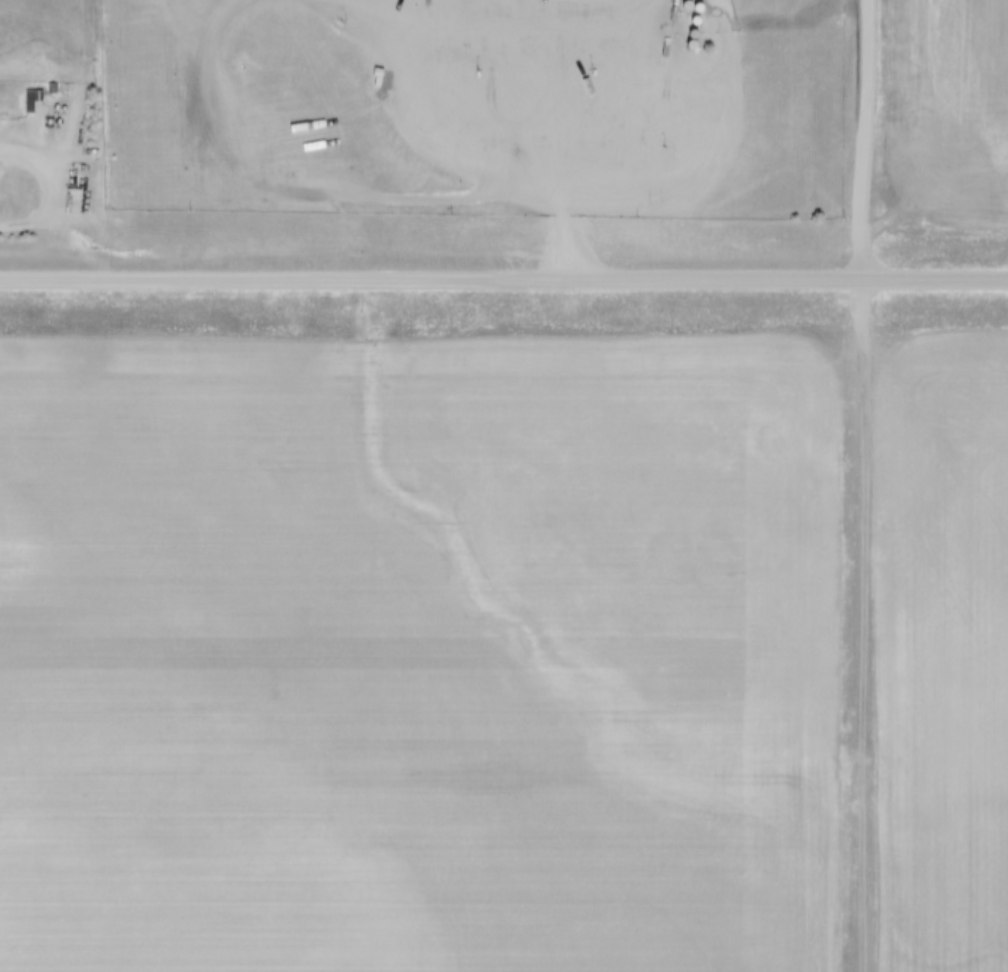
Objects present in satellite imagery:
building: (32, 91)
road: (490, 130)
road: (862, 141)
road: (15, 149)
road: (504, 281)
road: (864, 627)

